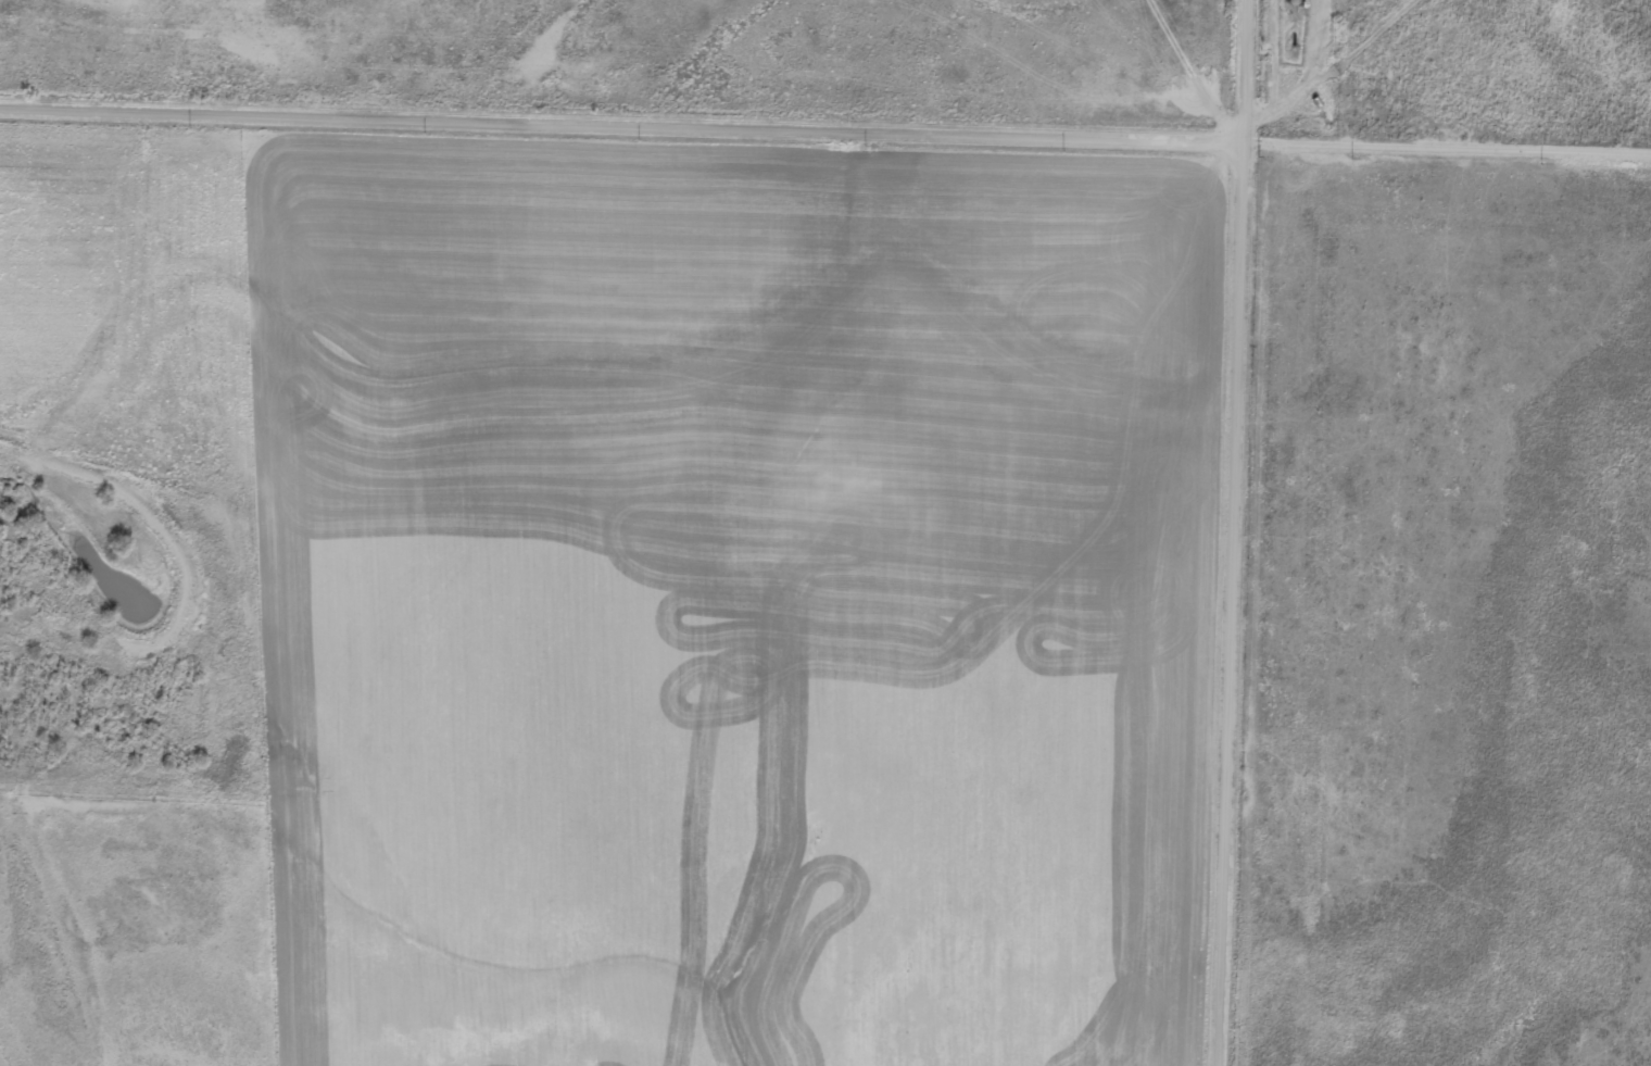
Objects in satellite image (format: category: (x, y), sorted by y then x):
road: (622, 120)
road: (1448, 145)
road: (1235, 532)

